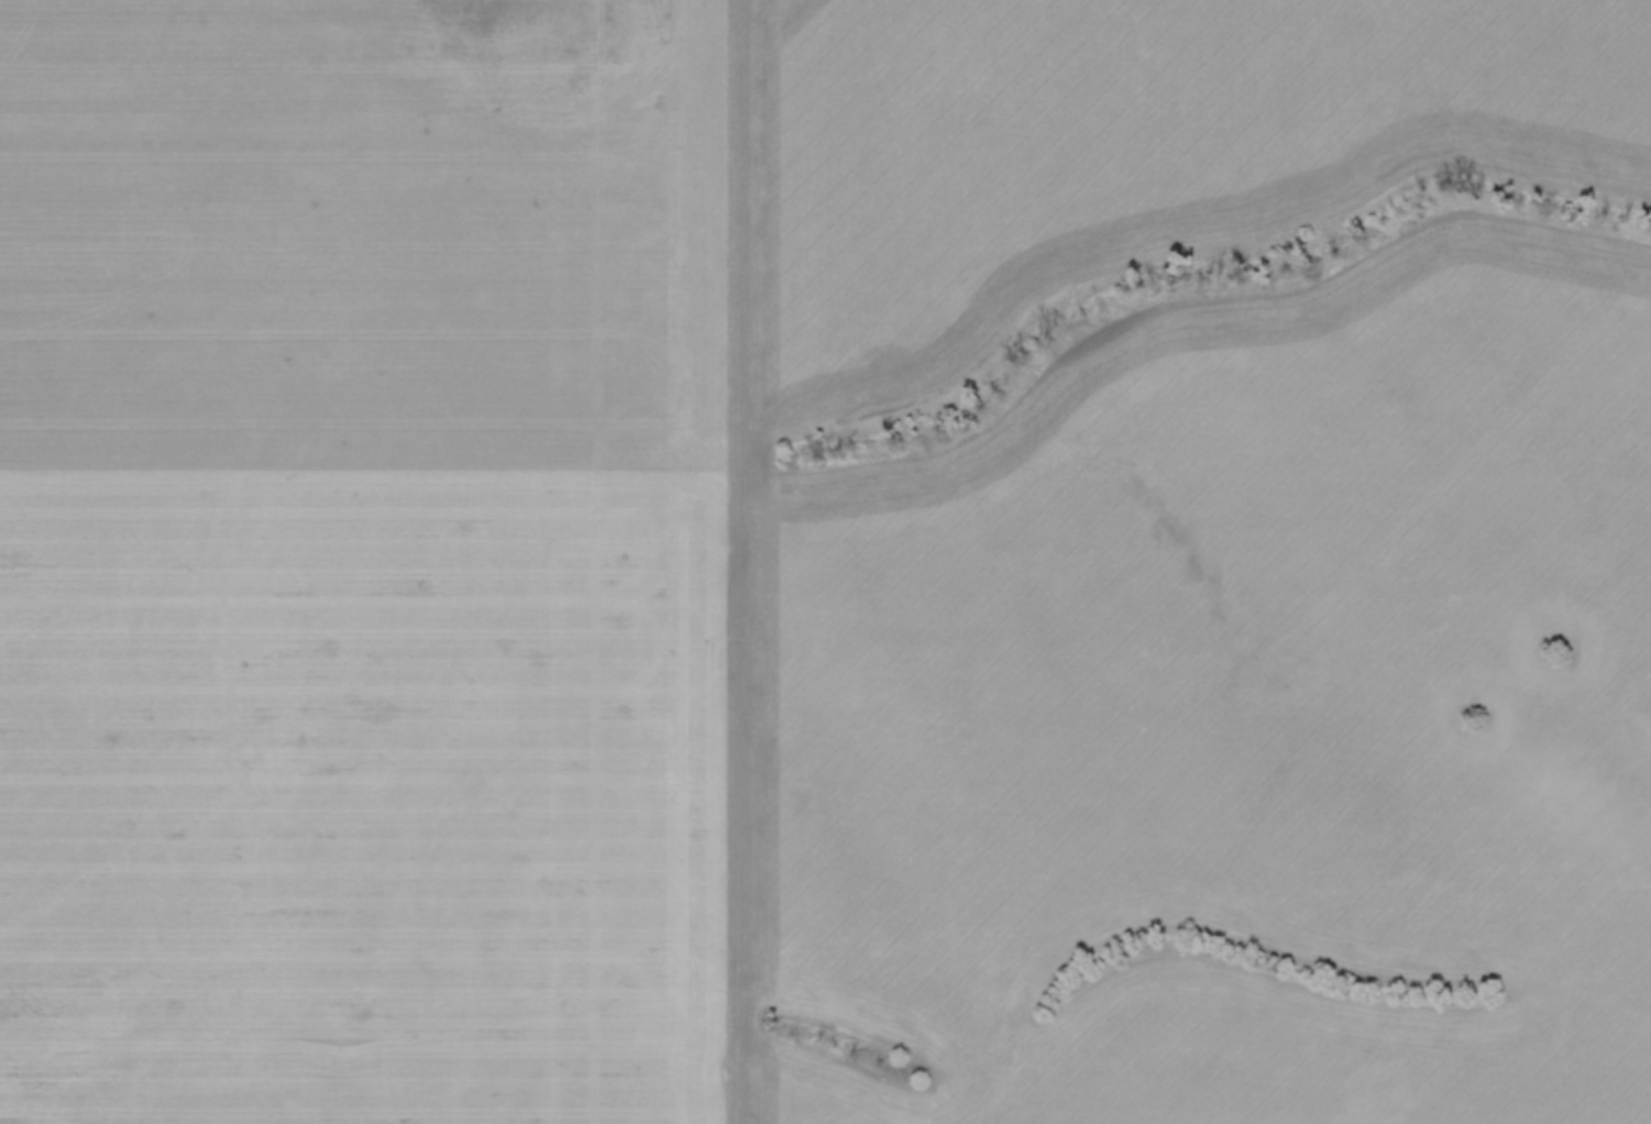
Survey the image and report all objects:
crop: (816, 567)

